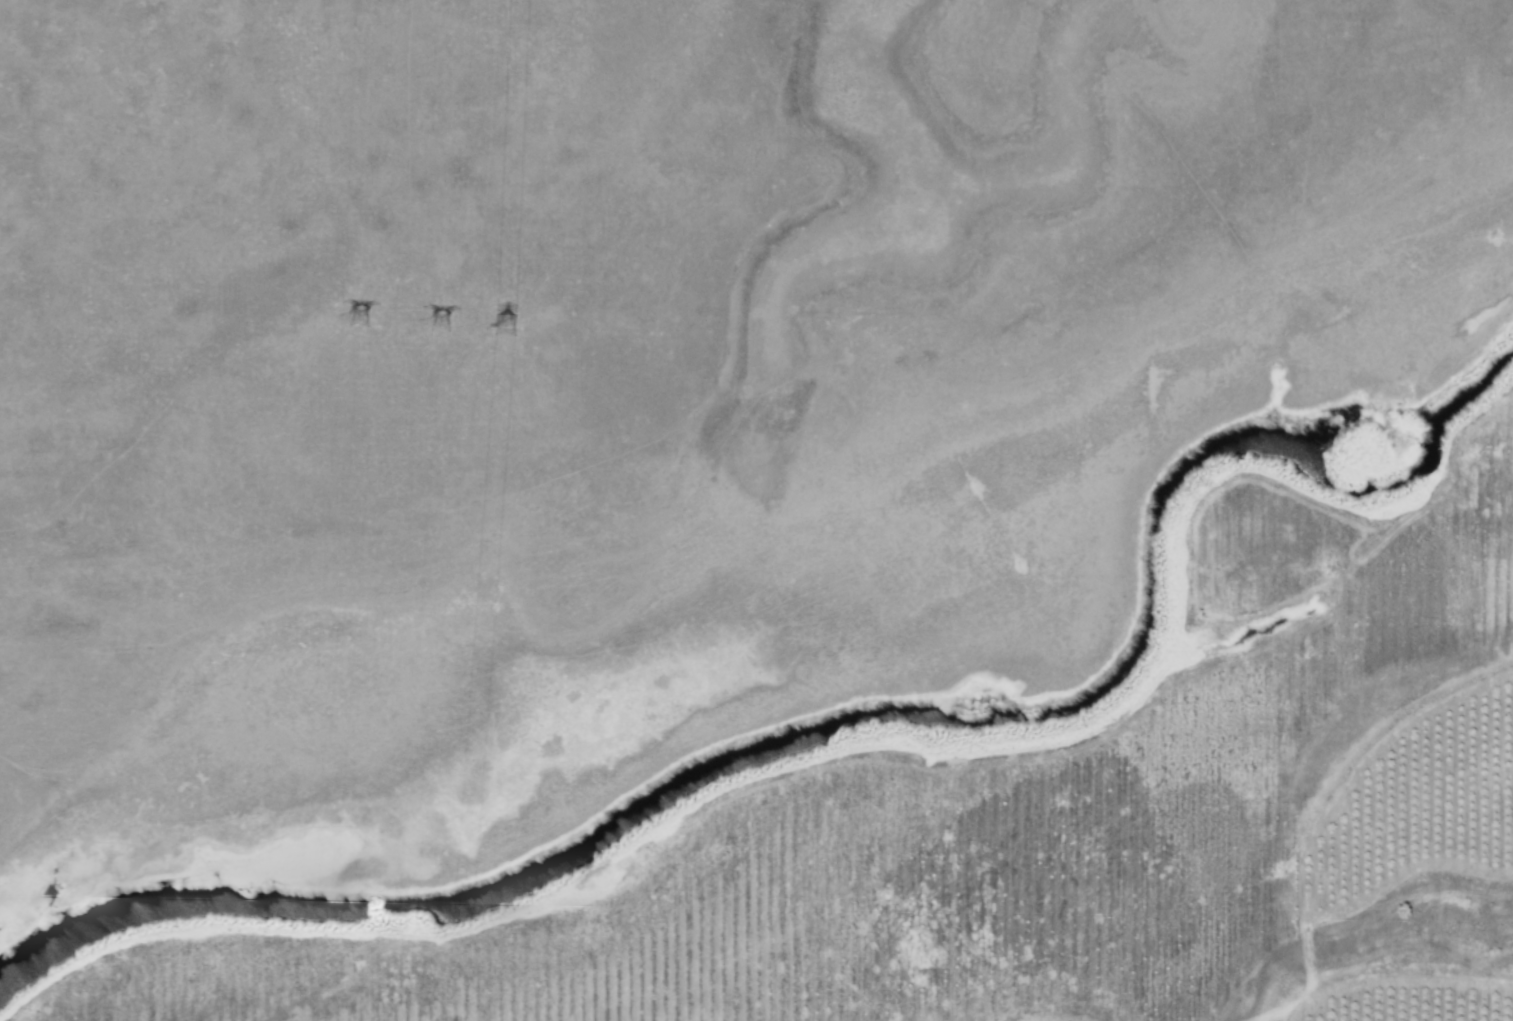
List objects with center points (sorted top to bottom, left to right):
power tower: (364, 318)
power tower: (434, 322)
power tower: (512, 327)

